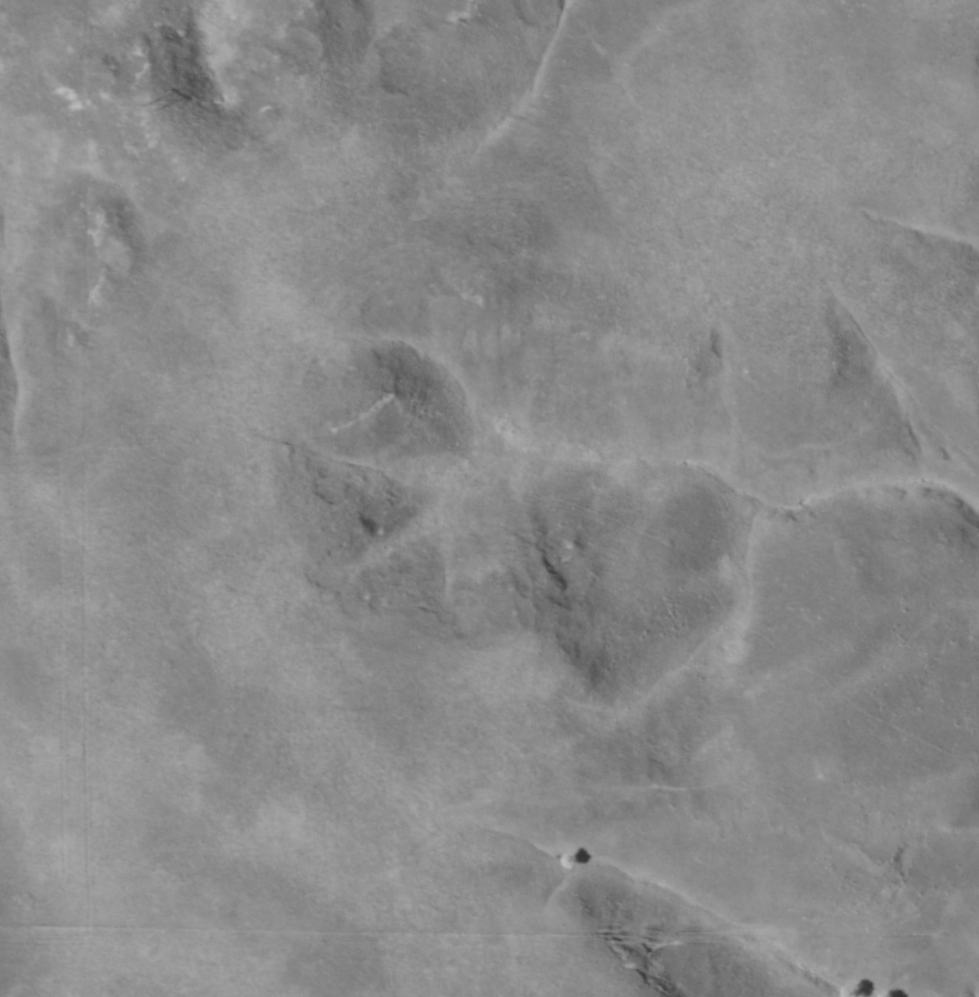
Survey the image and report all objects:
power tower: (159, 107)

